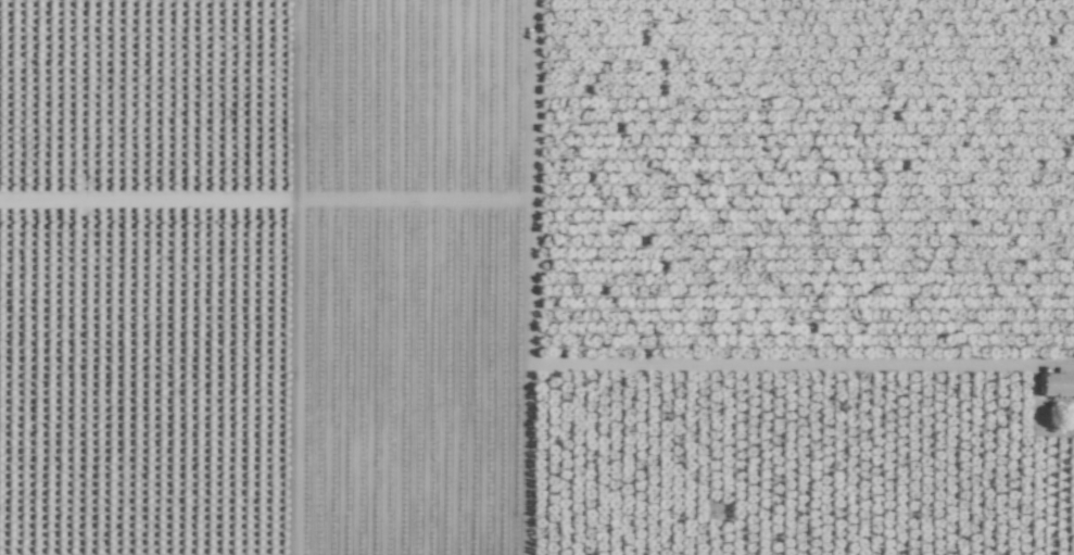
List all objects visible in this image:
road: (323, 277)
building: (1058, 386)

